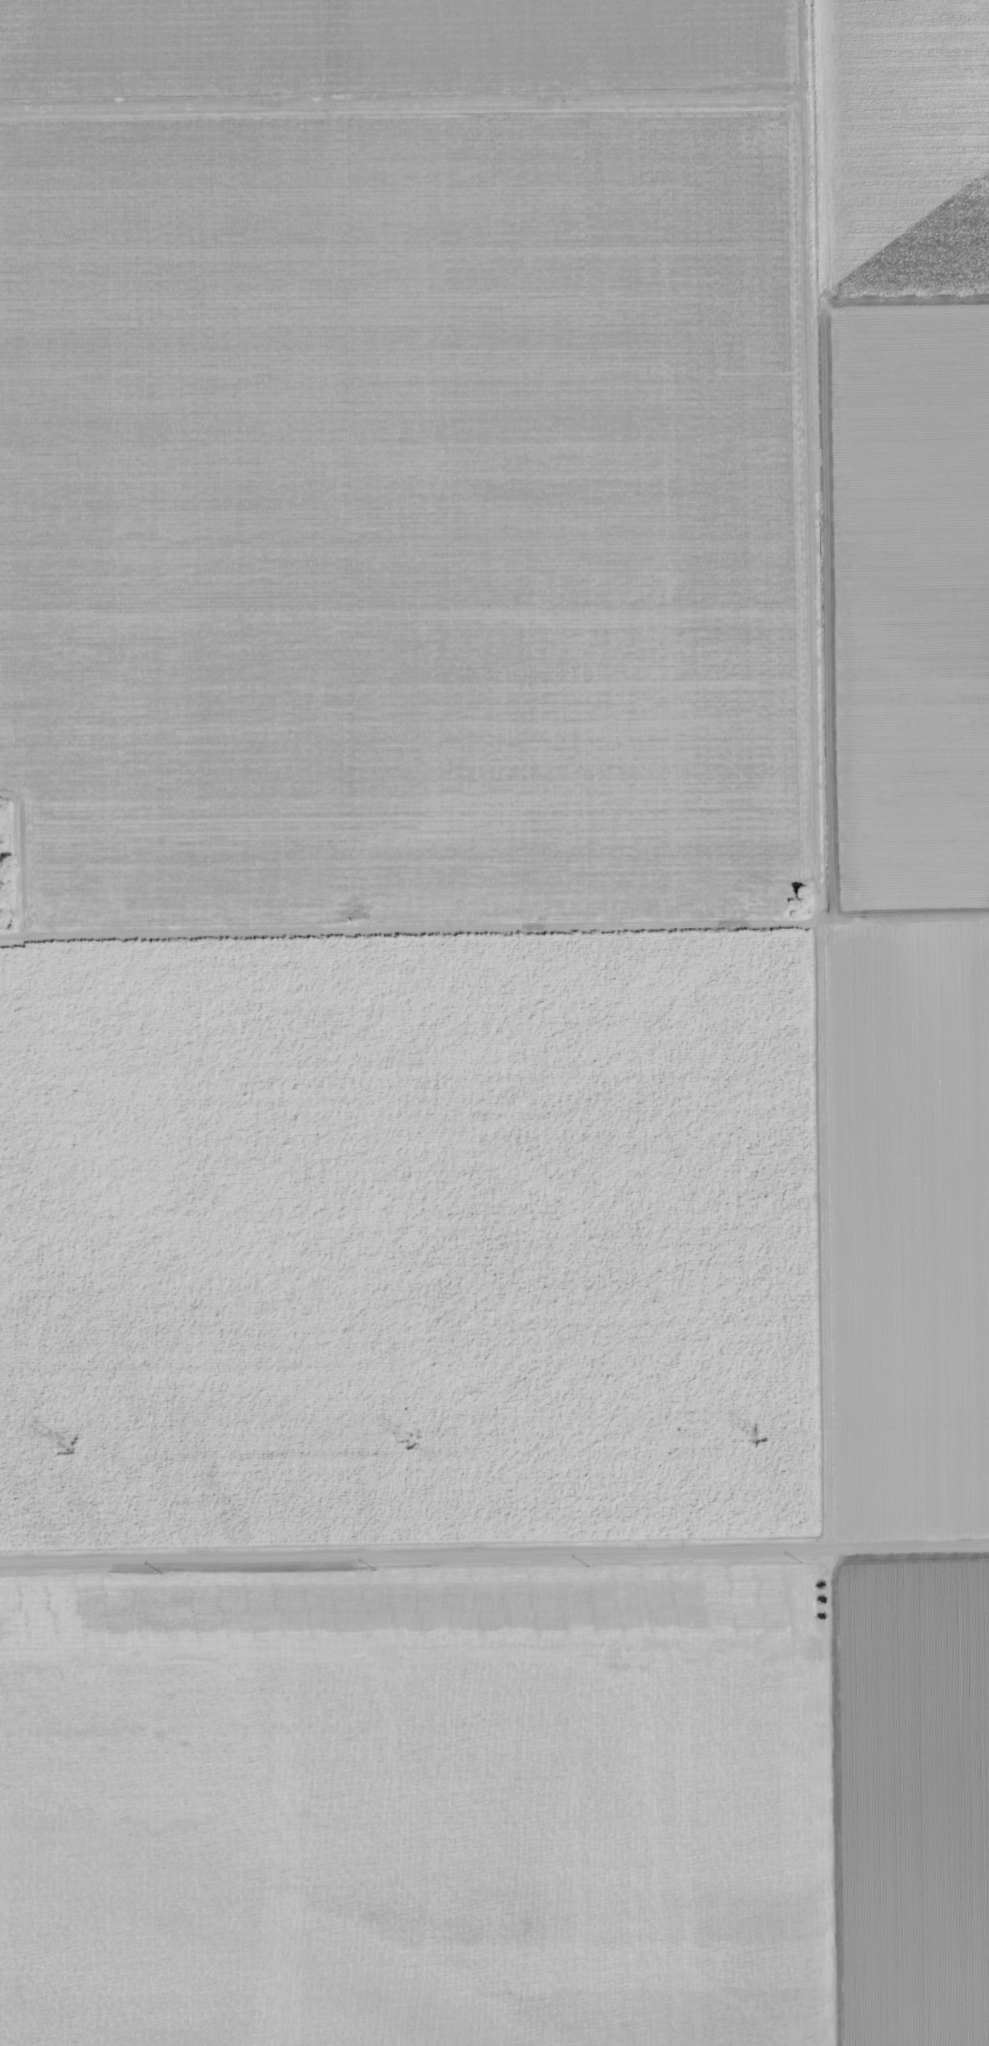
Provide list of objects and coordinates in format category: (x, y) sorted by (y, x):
road: (401, 100)
road: (808, 775)
power tower: (749, 1429)
power tower: (404, 1435)
power tower: (60, 1440)
road: (494, 1557)
road: (819, 1799)

